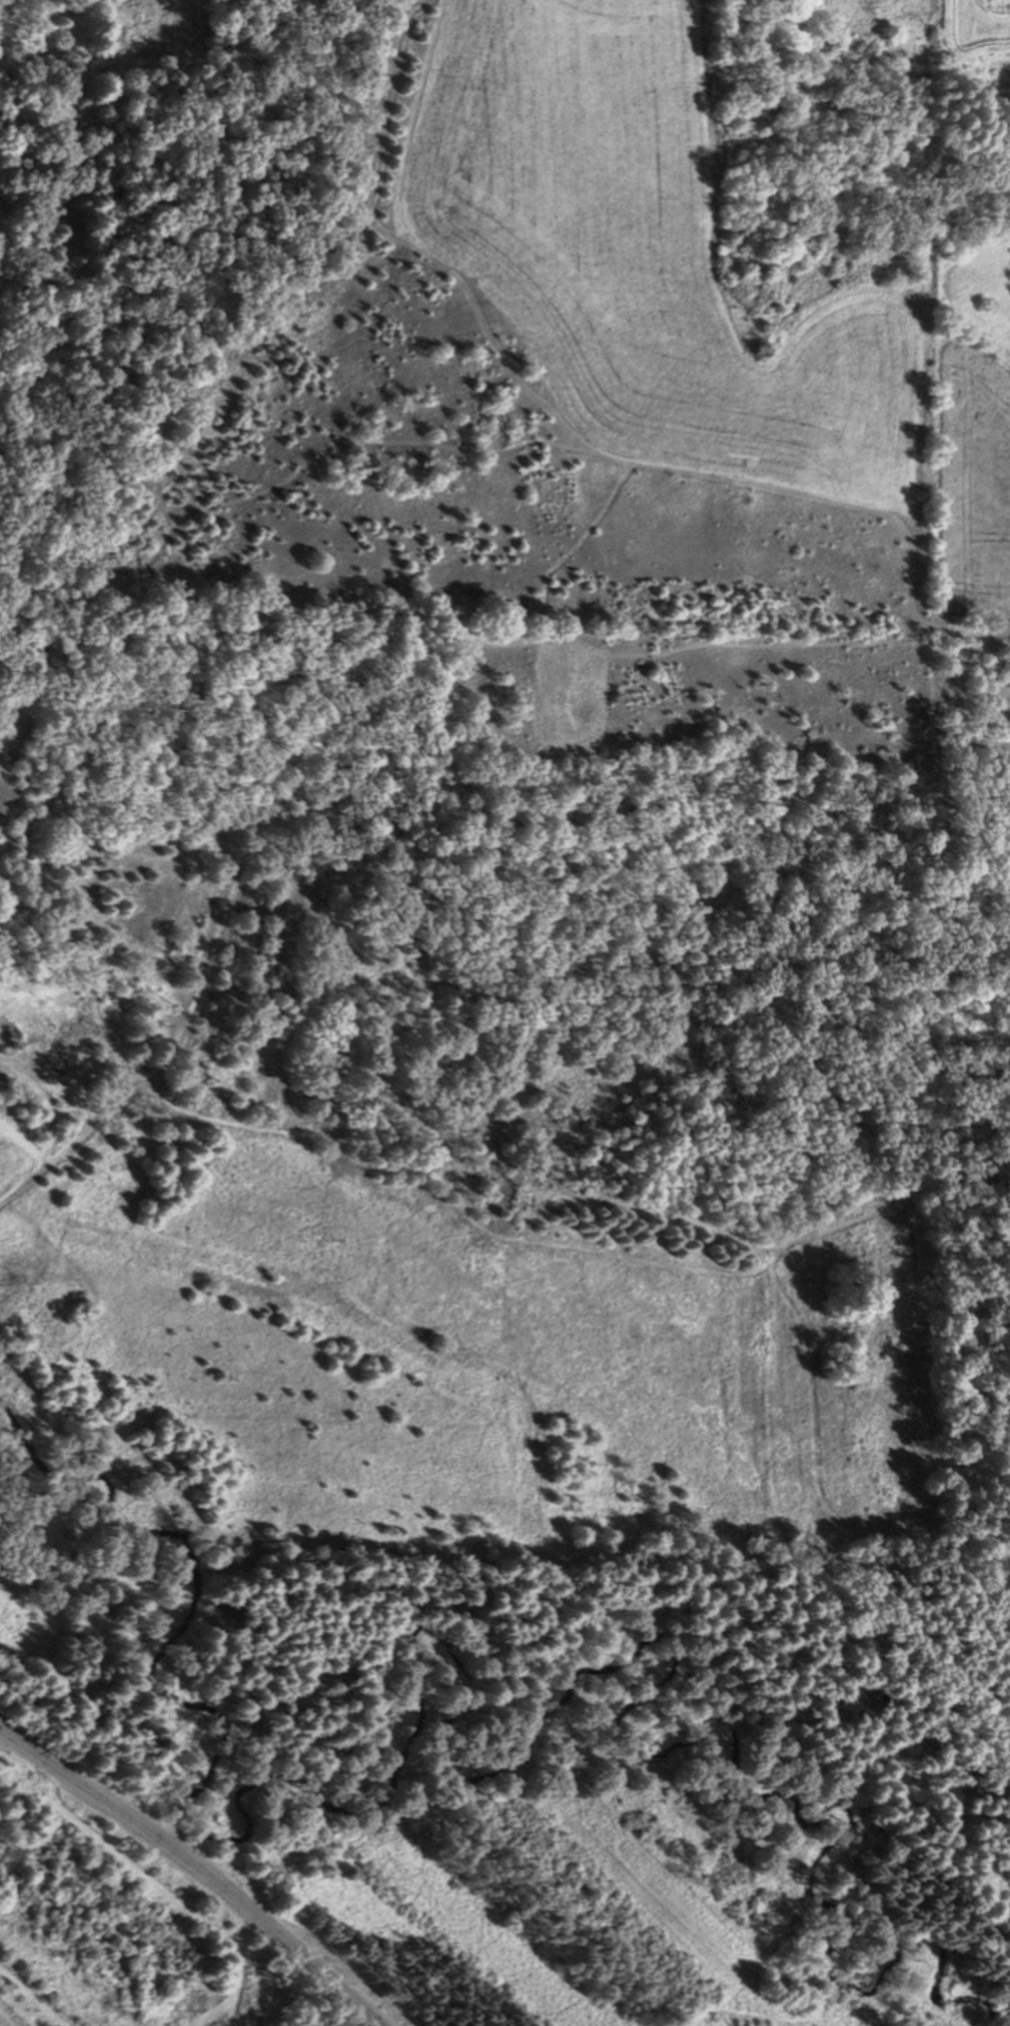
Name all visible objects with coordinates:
road: (212, 951)
road: (44, 1099)
river: (532, 1730)
road: (196, 1868)
road: (702, 2007)

